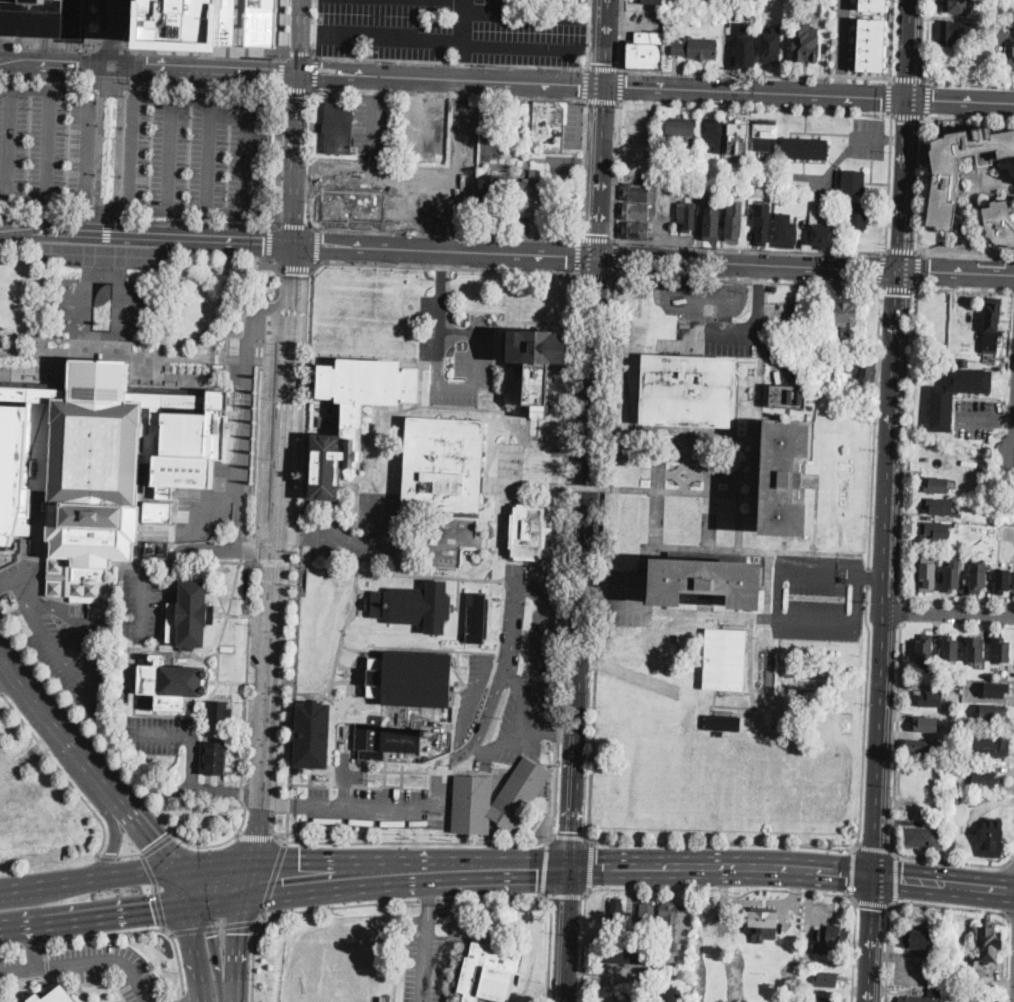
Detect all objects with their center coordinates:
building: (885, 0)
road: (441, 1)
building: (568, 1)
building: (659, 2)
building: (875, 5)
building: (959, 6)
road: (505, 8)
road: (135, 10)
road: (880, 15)
road: (526, 16)
building: (42, 18)
parking lot: (42, 18)
road: (594, 19)
parking lot: (210, 23)
building: (215, 23)
building: (874, 23)
road: (87, 25)
building: (135, 25)
road: (128, 26)
road: (316, 27)
road: (287, 30)
parking lot: (444, 31)
building: (956, 31)
road: (113, 32)
road: (587, 33)
road: (621, 34)
building: (873, 34)
parking lot: (1004, 36)
road: (1011, 36)
road: (298, 37)
road: (383, 39)
road: (891, 40)
building: (806, 41)
road: (926, 41)
road: (113, 42)
road: (127, 43)
road: (604, 43)
road: (50, 44)
road: (504, 44)
building: (771, 44)
building: (872, 44)
road: (593, 48)
road: (843, 48)
building: (696, 49)
building: (745, 49)
road: (912, 49)
building: (646, 51)
road: (211, 54)
road: (301, 55)
building: (871, 55)
road: (450, 61)
traffic signals: (604, 61)
road: (56, 62)
road: (86, 62)
road: (467, 62)
road: (139, 63)
traffic signals: (113, 65)
building: (871, 65)
road: (602, 67)
road: (204, 69)
road: (315, 71)
road: (282, 72)
traffic signals: (275, 73)
road: (757, 73)
traffic signals: (322, 75)
road: (85, 77)
road: (909, 78)
road: (450, 79)
road: (139, 80)
road: (585, 82)
road: (143, 83)
road: (619, 84)
road: (971, 84)
traffic signals: (579, 85)
traffic signals: (627, 87)
road: (43, 89)
road: (299, 90)
road: (449, 92)
road: (757, 92)
traffic signals: (296, 95)
road: (889, 96)
traffic signals: (882, 98)
road: (927, 98)
road: (171, 99)
road: (602, 100)
traffic signals: (934, 101)
road: (253, 102)
road: (962, 102)
road: (756, 106)
road: (375, 112)
road: (908, 115)
road: (420, 116)
road: (484, 116)
road: (969, 117)
road: (229, 118)
traffic signals: (909, 121)
building: (546, 123)
parking lot: (573, 123)
parking lot: (373, 125)
building: (339, 128)
parking lot: (419, 128)
road: (310, 129)
parking lot: (462, 131)
building: (714, 131)
parking lot: (489, 132)
building: (680, 132)
building: (766, 135)
road: (8, 137)
parking lot: (867, 137)
road: (895, 138)
building: (739, 139)
parking lot: (46, 143)
road: (47, 145)
road: (85, 147)
road: (101, 149)
building: (804, 149)
road: (118, 150)
road: (845, 151)
road: (130, 152)
road: (168, 154)
parking lot: (198, 154)
road: (208, 155)
road: (279, 156)
road: (294, 158)
road: (456, 165)
road: (247, 166)
road: (581, 168)
road: (617, 170)
road: (599, 171)
road: (308, 178)
road: (374, 180)
building: (854, 182)
building: (392, 183)
building: (798, 183)
road: (888, 183)
road: (921, 183)
road: (905, 184)
building: (945, 184)
road: (3, 185)
parking lot: (822, 185)
road: (420, 186)
road: (386, 187)
building: (729, 189)
building: (492, 190)
road: (5, 192)
building: (635, 192)
building: (531, 195)
road: (2, 198)
road: (43, 200)
building: (347, 206)
road: (187, 210)
road: (308, 210)
building: (634, 211)
building: (687, 216)
building: (859, 216)
road: (140, 219)
road: (107, 221)
building: (712, 221)
building: (734, 222)
building: (762, 222)
building: (999, 223)
road: (295, 225)
building: (634, 230)
road: (448, 231)
building: (786, 232)
road: (53, 233)
traffic signals: (597, 234)
road: (107, 235)
building: (824, 235)
road: (200, 239)
road: (596, 239)
road: (271, 241)
traffic signals: (264, 242)
traffic signals: (324, 245)
road: (317, 246)
road: (749, 249)
road: (901, 249)
road: (444, 251)
road: (966, 253)
road: (106, 254)
road: (577, 255)
traffic signals: (568, 256)
road: (137, 258)
road: (614, 258)
traffic signals: (628, 258)
road: (269, 260)
road: (374, 263)
road: (748, 263)
road: (442, 266)
road: (167, 267)
road: (295, 268)
traffic signals: (871, 268)
road: (882, 268)
road: (514, 270)
road: (918, 271)
traffic signals: (930, 271)
road: (957, 272)
traffic signals: (292, 273)
road: (441, 274)
road: (595, 275)
road: (746, 282)
road: (278, 284)
road: (658, 284)
road: (898, 286)
road: (965, 289)
road: (449, 292)
traffic signals: (900, 294)
parking lot: (703, 298)
road: (709, 301)
road: (762, 303)
fountain: (103, 305)
road: (44, 313)
building: (845, 317)
road: (218, 318)
road: (262, 318)
road: (161, 321)
building: (992, 325)
road: (21, 336)
parking lot: (456, 353)
road: (497, 353)
road: (129, 355)
building: (535, 362)
building: (863, 369)
road: (457, 387)
building: (367, 388)
building: (687, 390)
building: (788, 396)
road: (307, 399)
building: (942, 412)
parking lot: (977, 417)
road: (980, 417)
road: (1007, 418)
road: (268, 421)
road: (247, 423)
road: (874, 426)
building: (728, 430)
road: (256, 438)
road: (893, 442)
road: (907, 444)
road: (549, 452)
road: (591, 454)
road: (636, 455)
building: (446, 462)
building: (99, 464)
building: (324, 466)
building: (785, 475)
building: (937, 485)
road: (547, 486)
road: (589, 487)
road: (635, 489)
building: (938, 506)
building: (158, 511)
parking lot: (330, 528)
building: (936, 529)
building: (529, 532)
road: (290, 537)
road: (265, 540)
road: (363, 542)
road: (251, 547)
road: (278, 553)
road: (601, 557)
road: (565, 558)
road: (276, 560)
road: (296, 562)
road: (582, 562)
road: (170, 566)
road: (792, 571)
road: (867, 575)
road: (873, 575)
building: (928, 577)
building: (977, 577)
building: (844, 578)
building: (706, 579)
building: (952, 579)
road: (4, 580)
building: (1003, 580)
park: (614, 596)
parking lot: (816, 596)
park: (639, 597)
road: (957, 602)
parking lot: (140, 606)
building: (414, 606)
road: (901, 611)
building: (189, 613)
road: (949, 616)
building: (477, 618)
road: (841, 620)
parking lot: (59, 634)
building: (951, 649)
building: (976, 649)
building: (924, 650)
building: (1003, 650)
building: (725, 658)
road: (592, 662)
road: (88, 670)
building: (1011, 671)
road: (5, 673)
parking lot: (516, 673)
road: (529, 674)
road: (639, 678)
building: (412, 679)
building: (170, 682)
road: (20, 683)
building: (957, 683)
road: (245, 684)
parking lot: (471, 688)
road: (294, 689)
building: (996, 689)
building: (930, 698)
building: (220, 712)
building: (992, 712)
road: (864, 717)
building: (722, 722)
building: (927, 724)
road: (186, 734)
road: (534, 734)
building: (314, 735)
parking lot: (164, 736)
road: (562, 736)
building: (386, 739)
road: (897, 739)
road: (880, 745)
road: (36, 746)
building: (992, 746)
road: (72, 748)
building: (920, 749)
building: (966, 752)
building: (216, 758)
road: (115, 761)
road: (450, 761)
building: (959, 767)
road: (62, 771)
road: (410, 771)
building: (985, 778)
road: (227, 788)
building: (495, 790)
parking lot: (20, 798)
building: (957, 799)
parking lot: (365, 801)
road: (276, 805)
building: (936, 810)
road: (140, 825)
traffic signals: (573, 831)
road: (116, 833)
road: (256, 836)
road: (571, 836)
building: (991, 837)
road: (281, 838)
building: (924, 838)
traffic signals: (153, 840)
road: (416, 843)
road: (722, 843)
road: (158, 844)
road: (874, 849)
road: (130, 855)
road: (107, 857)
road: (954, 860)
traffic signals: (301, 862)
road: (590, 862)
road: (1009, 864)
road: (332, 865)
road: (545, 868)
traffic signals: (598, 868)
road: (723, 868)
traffic signals: (539, 869)
road: (174, 870)
road: (490, 870)
road: (852, 872)
traffic signals: (843, 874)
road: (273, 877)
road: (895, 877)
traffic signals: (904, 881)
road: (250, 883)
road: (47, 884)
road: (944, 885)
road: (717, 887)
road: (329, 889)
road: (156, 890)
road: (427, 892)
road: (563, 895)
road: (872, 901)
road: (398, 903)
road: (953, 905)
traffic signals: (874, 908)
traffic signals: (153, 909)
road: (123, 912)
building: (617, 912)
road: (1008, 913)
building: (647, 916)
road: (213, 926)
building: (763, 926)
building: (669, 927)
road: (211, 931)
traffic signals: (240, 932)
road: (108, 933)
road: (194, 934)
traffic signals: (212, 935)
road: (568, 935)
road: (872, 939)
building: (390, 940)
building: (830, 941)
building: (918, 941)
road: (34, 942)
road: (11, 945)
road: (31, 945)
road: (550, 947)
road: (853, 947)
road: (582, 948)
road: (886, 949)
road: (238, 951)
building: (629, 953)
road: (253, 956)
road: (424, 957)
road: (85, 961)
building: (982, 961)
road: (179, 962)
parking lot: (88, 967)
parking lot: (424, 968)
building: (490, 973)
building: (826, 979)
building: (669, 995)
building: (53, 996)
road: (184, 997)
building: (921, 997)
building: (826, 1000)
building: (993, 1000)
building: (90, 1001)
road: (199, 1001)

